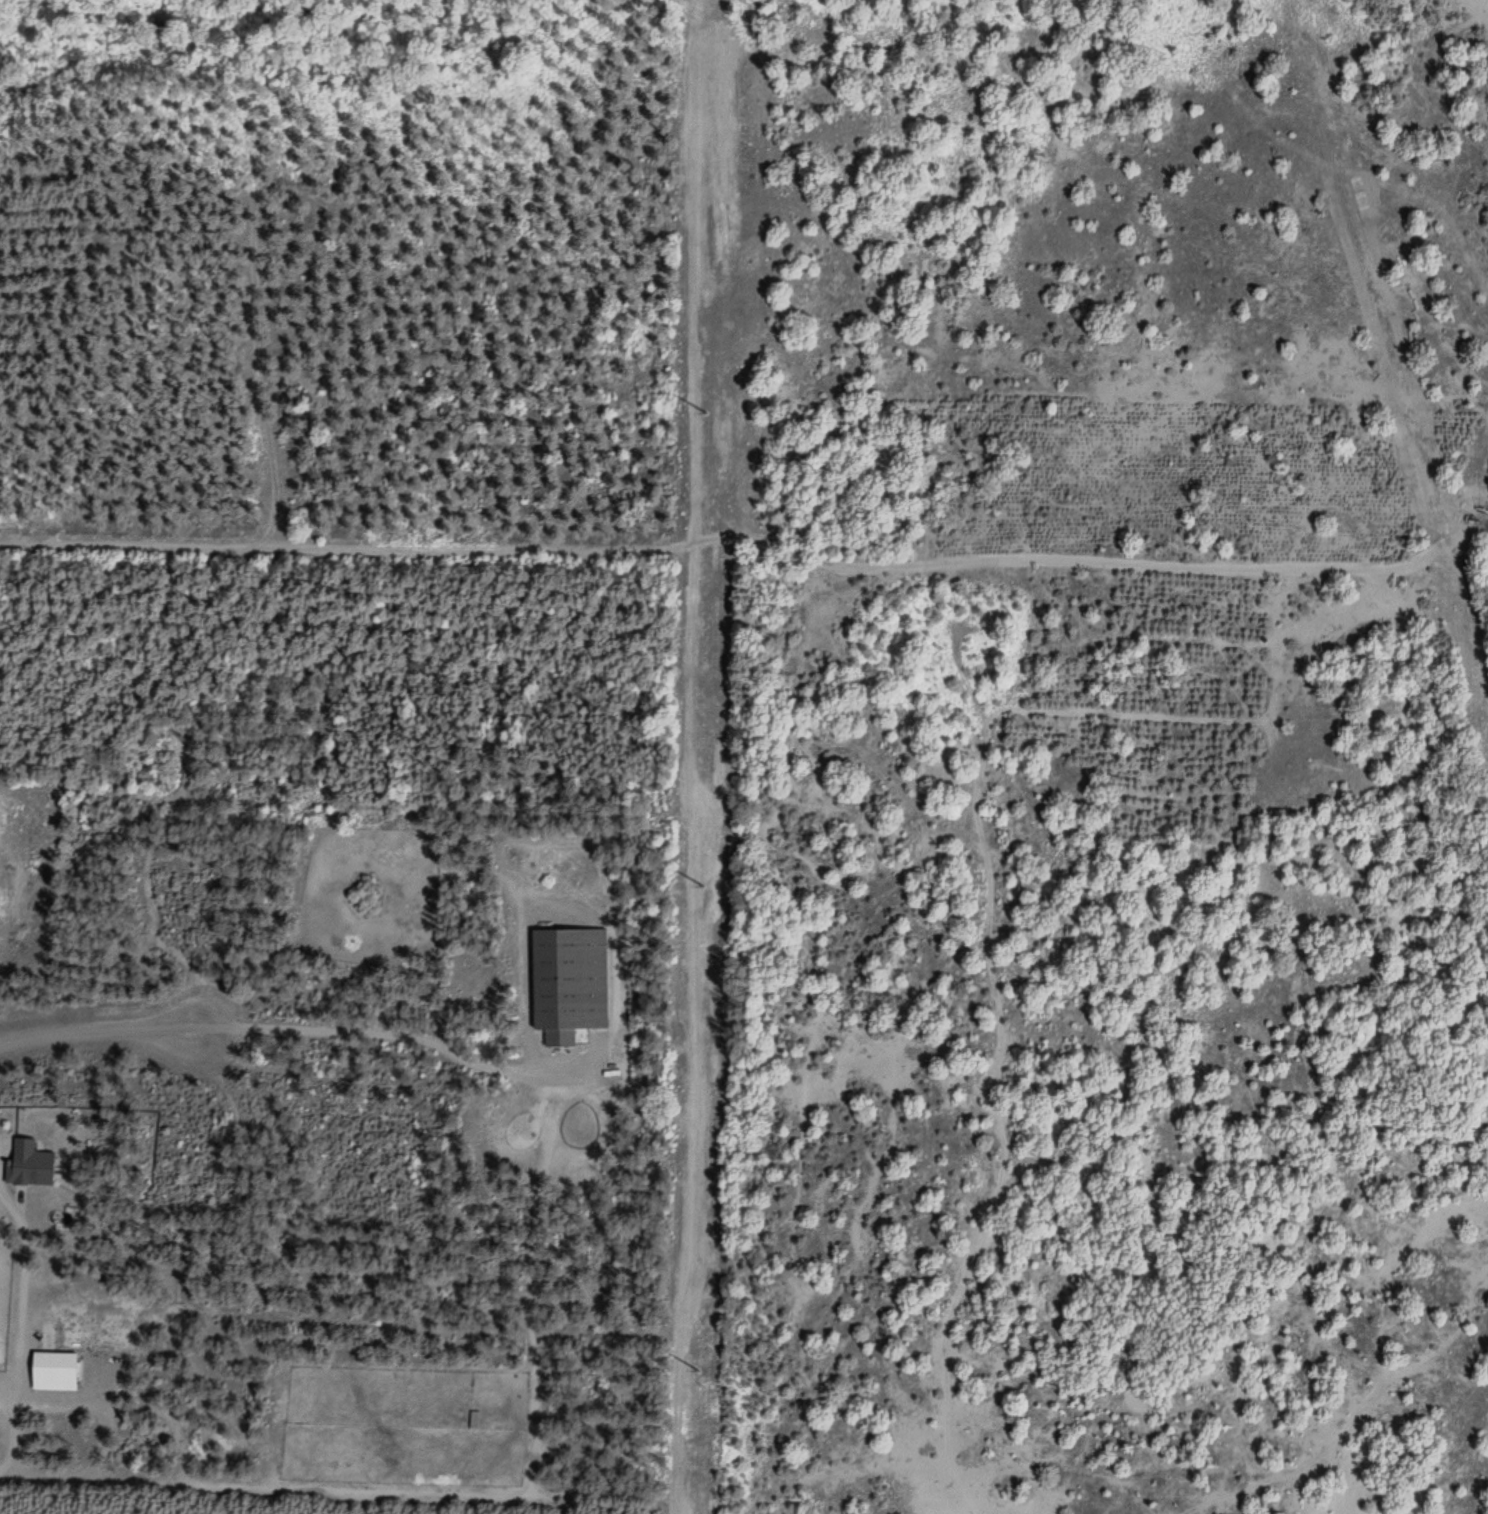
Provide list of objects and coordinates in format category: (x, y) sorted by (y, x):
road: (103, 1028)

